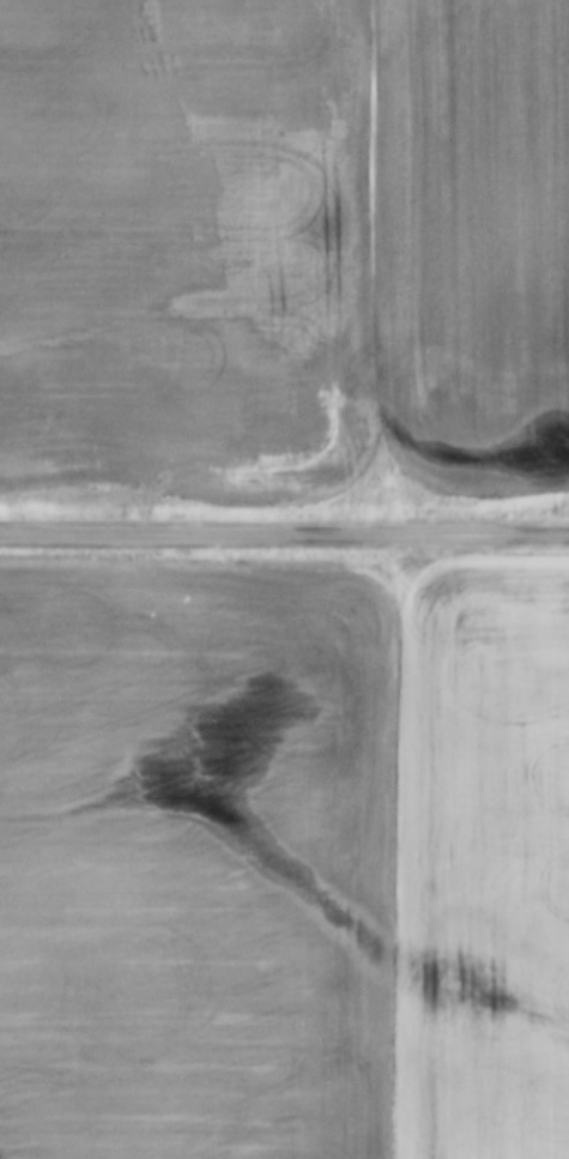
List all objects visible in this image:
road: (284, 535)

